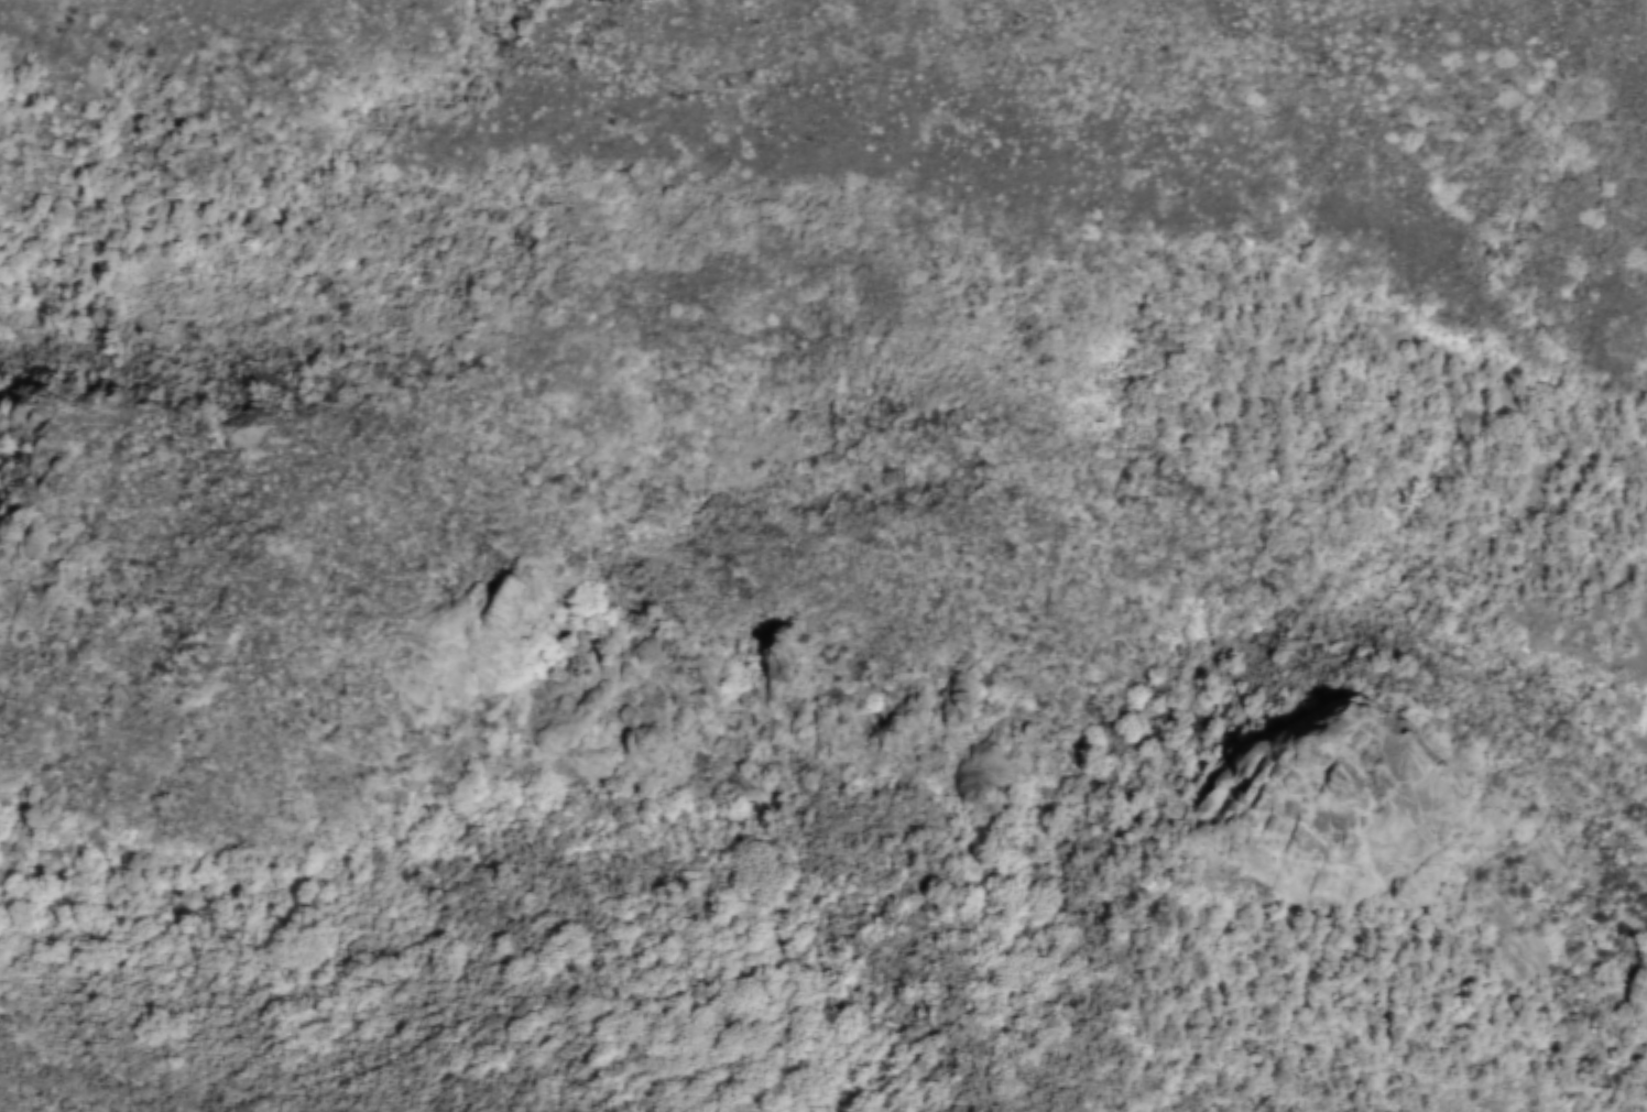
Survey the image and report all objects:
road: (1081, 967)

